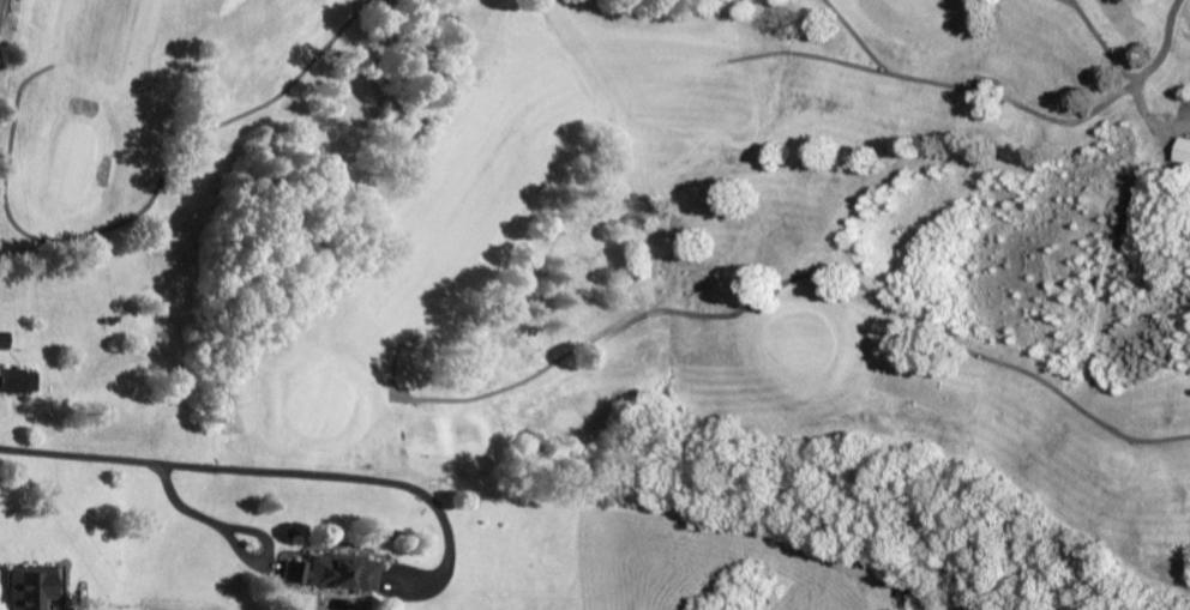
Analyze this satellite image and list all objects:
road: (1, 5)
building: (1183, 149)
building: (4, 339)
building: (18, 380)
road: (253, 470)
building: (333, 572)
building: (35, 586)

